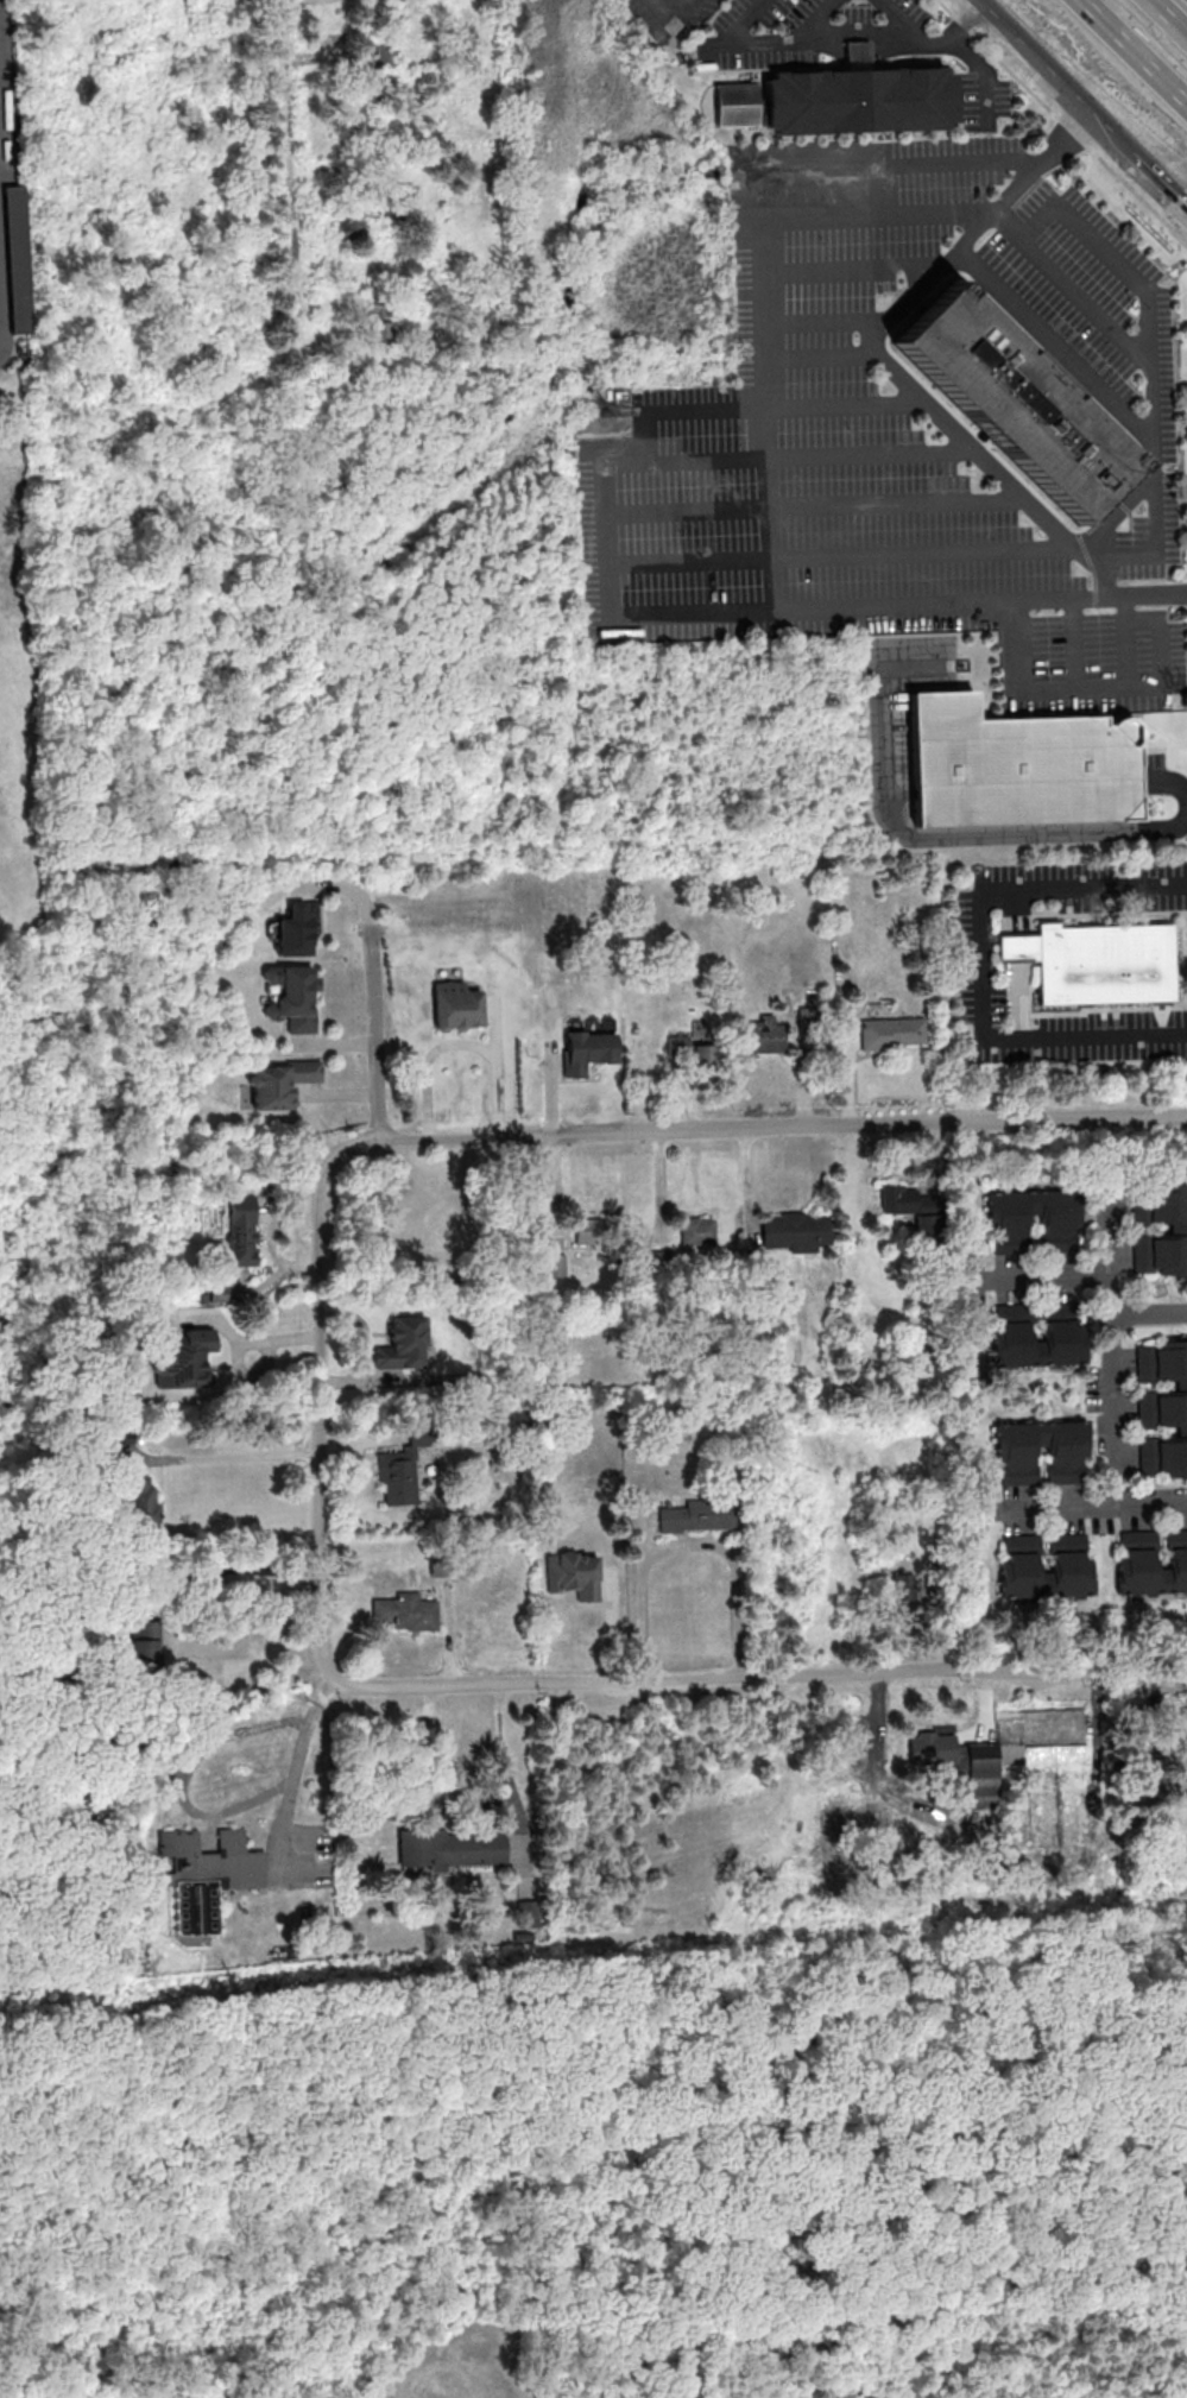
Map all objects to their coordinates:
road: (675, 5)
road: (1172, 13)
road: (902, 20)
road: (968, 26)
road: (803, 36)
road: (1137, 48)
building: (387, 53)
road: (979, 62)
road: (1050, 69)
building: (858, 102)
building: (734, 105)
building: (362, 120)
road: (290, 159)
road: (1153, 170)
building: (393, 213)
road: (873, 219)
building: (351, 229)
road: (1027, 244)
road: (953, 253)
building: (18, 259)
road: (852, 267)
road: (1087, 303)
road: (828, 321)
building: (384, 323)
road: (815, 351)
road: (764, 377)
road: (1150, 391)
building: (1015, 400)
road: (754, 408)
road: (872, 454)
road: (995, 466)
road: (815, 505)
road: (771, 534)
road: (841, 554)
road: (1101, 597)
road: (896, 604)
road: (1138, 614)
river: (308, 639)
road: (1122, 643)
road: (1072, 645)
road: (1081, 692)
building: (1015, 768)
road: (926, 841)
building: (296, 930)
building: (1098, 961)
road: (980, 964)
road: (371, 986)
building: (292, 997)
building: (457, 1006)
building: (810, 1018)
building: (766, 1034)
building: (892, 1034)
building: (588, 1050)
building: (694, 1055)
building: (280, 1083)
road: (754, 1127)
building: (916, 1210)
building: (433, 1223)
building: (587, 1230)
building: (1160, 1230)
building: (244, 1231)
building: (697, 1231)
building: (796, 1232)
building: (1010, 1232)
building: (663, 1262)
building: (555, 1264)
road: (1057, 1277)
road: (1148, 1310)
building: (1015, 1323)
building: (402, 1345)
road: (1110, 1346)
building: (184, 1359)
river: (29, 1368)
building: (1163, 1406)
road: (318, 1428)
building: (122, 1435)
road: (223, 1457)
building: (1018, 1465)
building: (400, 1472)
building: (141, 1498)
road: (1151, 1502)
road: (1059, 1507)
building: (697, 1516)
road: (689, 1544)
building: (1021, 1553)
building: (1151, 1563)
road: (233, 1571)
building: (574, 1573)
building: (907, 1586)
building: (406, 1611)
building: (145, 1648)
road: (770, 1678)
building: (933, 1748)
building: (1023, 1749)
building: (171, 1774)
road: (209, 1812)
building: (453, 1849)
building: (208, 1878)

